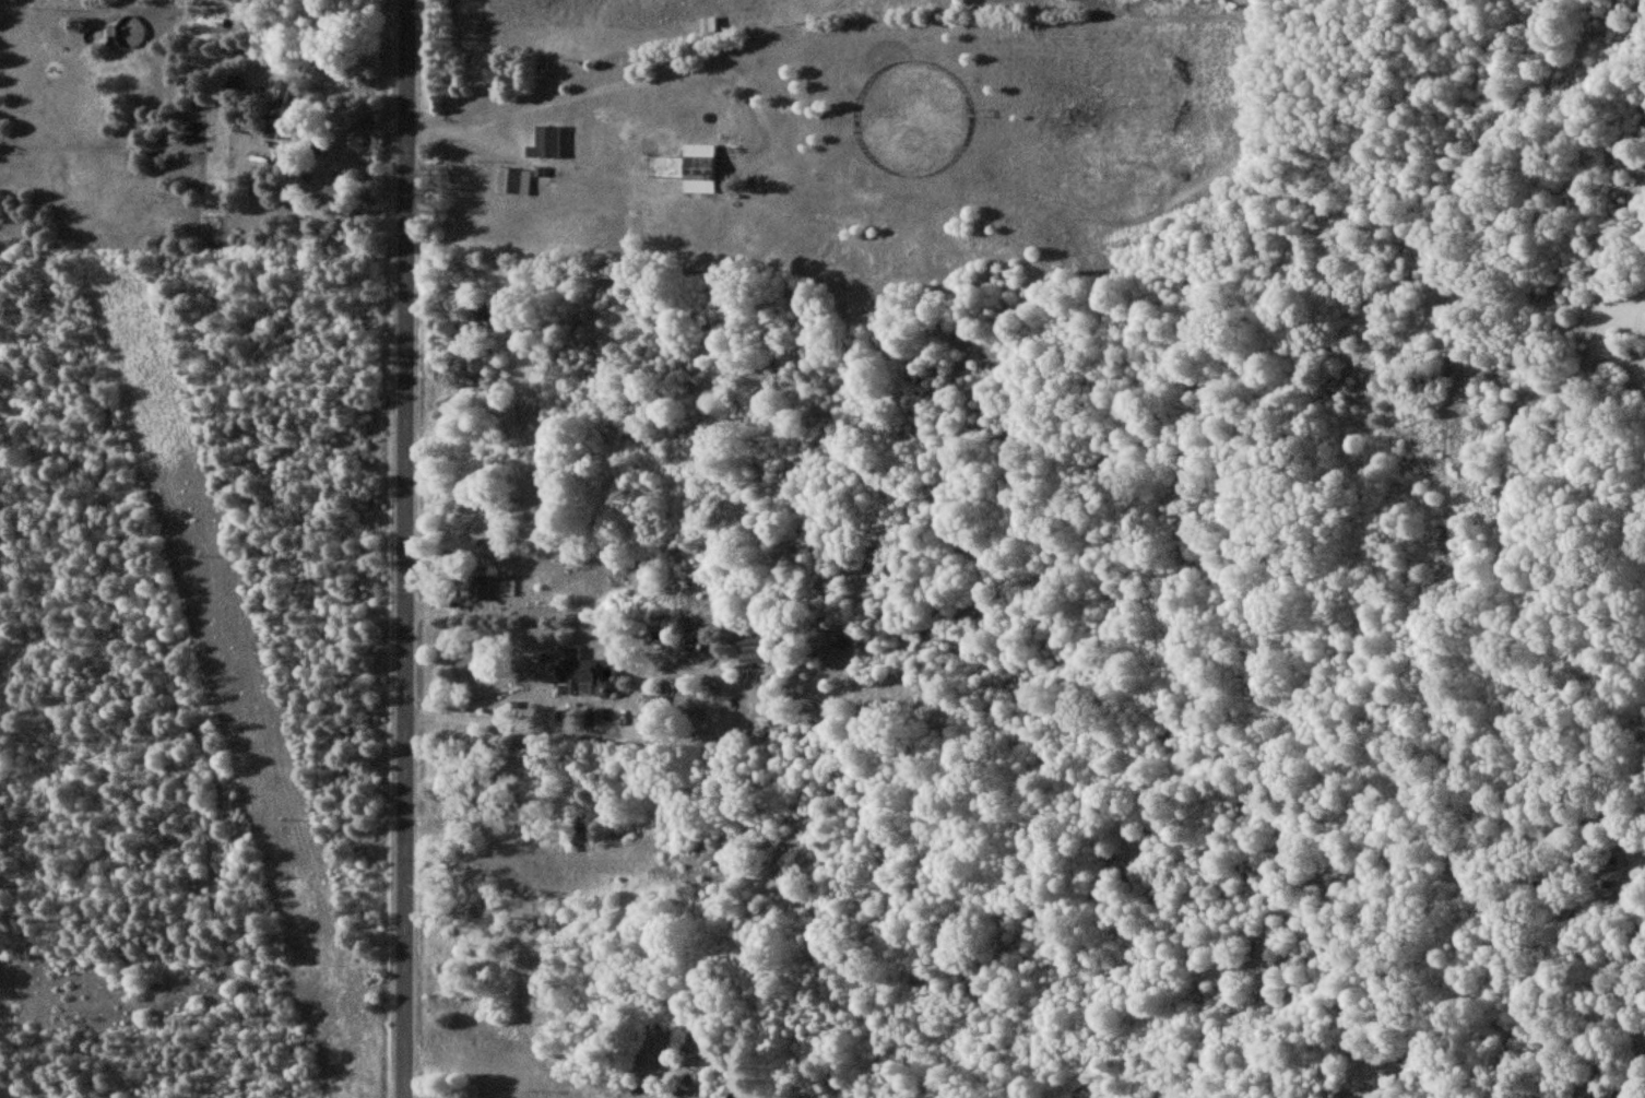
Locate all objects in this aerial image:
building: (708, 23)
building: (277, 108)
building: (544, 141)
building: (318, 142)
building: (699, 167)
road: (288, 168)
building: (512, 180)
road: (328, 214)
road: (406, 548)
building: (480, 588)
road: (489, 612)
building: (575, 671)
road: (546, 719)
road: (210, 769)
road: (529, 847)
road: (1637, 983)

